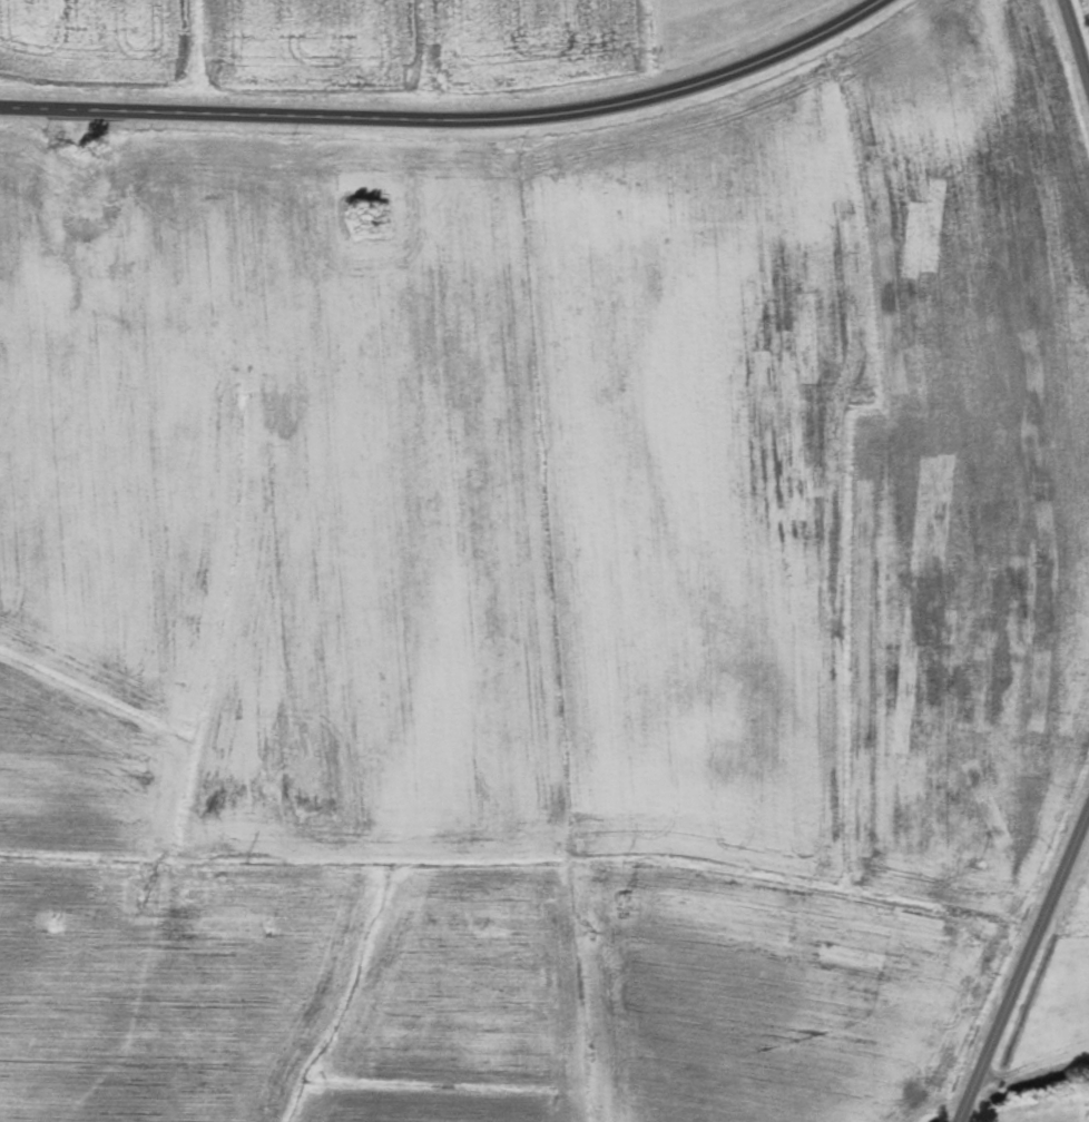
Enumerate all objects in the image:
road: (1076, 40)
road: (449, 115)
power tower: (141, 894)
power tower: (621, 902)
road: (1023, 965)

